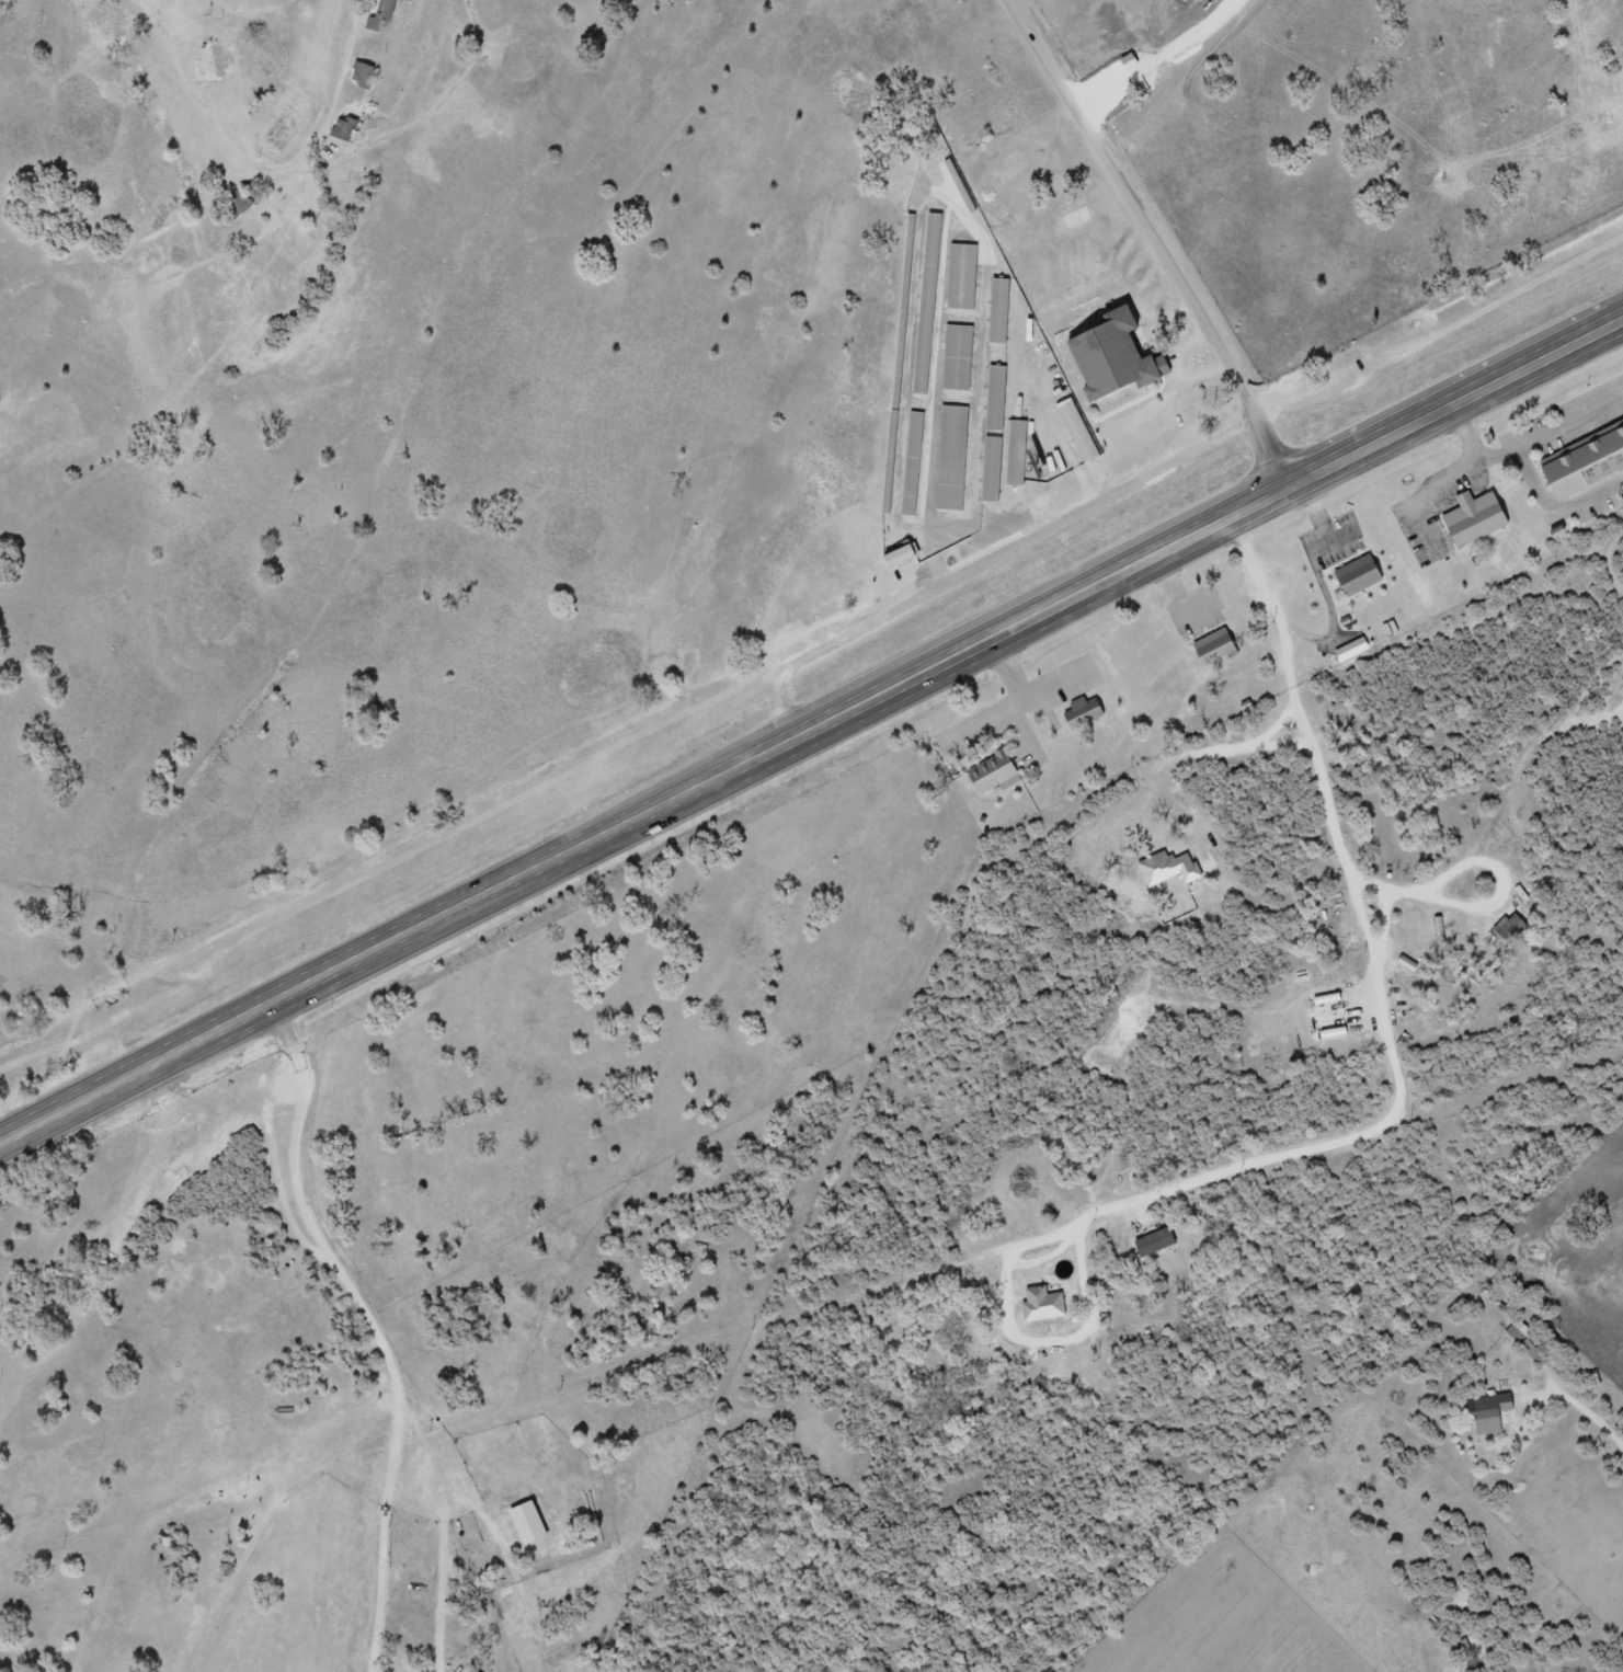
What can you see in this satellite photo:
road: (180, 59)
building: (367, 75)
building: (348, 130)
building: (245, 204)
road: (1166, 239)
building: (969, 278)
building: (923, 305)
building: (935, 306)
building: (994, 311)
building: (1006, 316)
building: (964, 362)
building: (1123, 366)
building: (904, 367)
building: (992, 399)
building: (1003, 402)
building: (1085, 434)
road: (1475, 439)
building: (1013, 454)
building: (1024, 456)
building: (959, 460)
road: (1517, 461)
building: (908, 465)
building: (1586, 466)
building: (919, 467)
building: (986, 470)
building: (997, 473)
building: (1482, 524)
road: (1317, 556)
building: (892, 557)
road: (997, 560)
building: (907, 563)
building: (1365, 582)
building: (1222, 652)
building: (1090, 715)
road: (809, 733)
building: (1002, 777)
building: (1505, 929)
road: (1370, 1131)
building: (1523, 1347)
building: (1484, 1413)
road: (1588, 1420)

